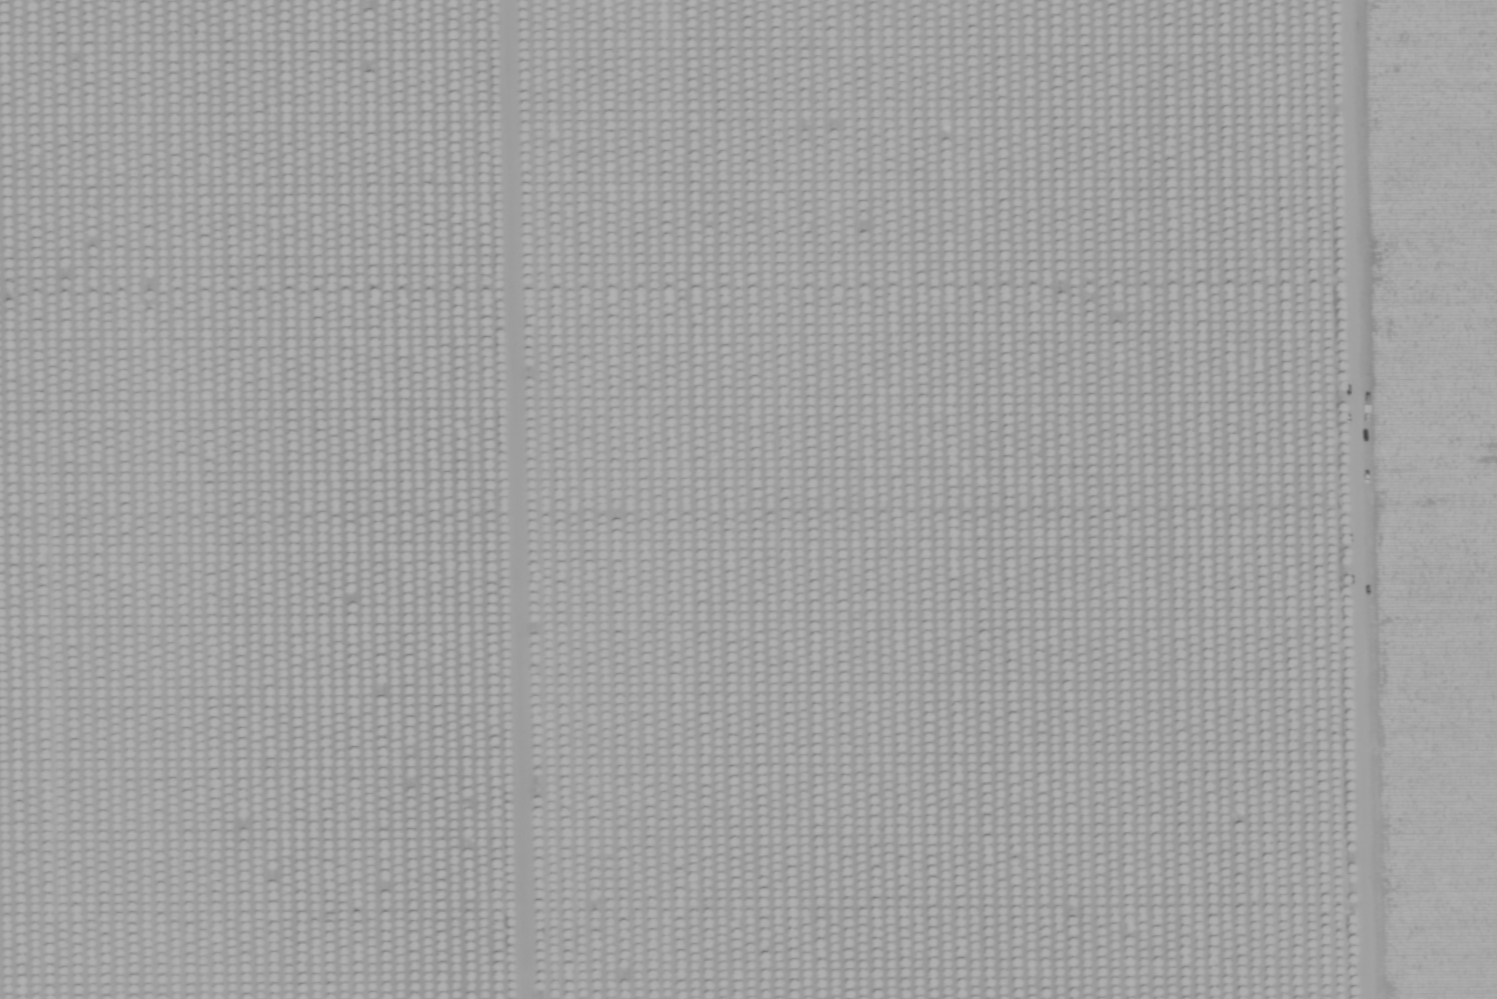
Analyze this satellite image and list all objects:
crop: (748, 499)

